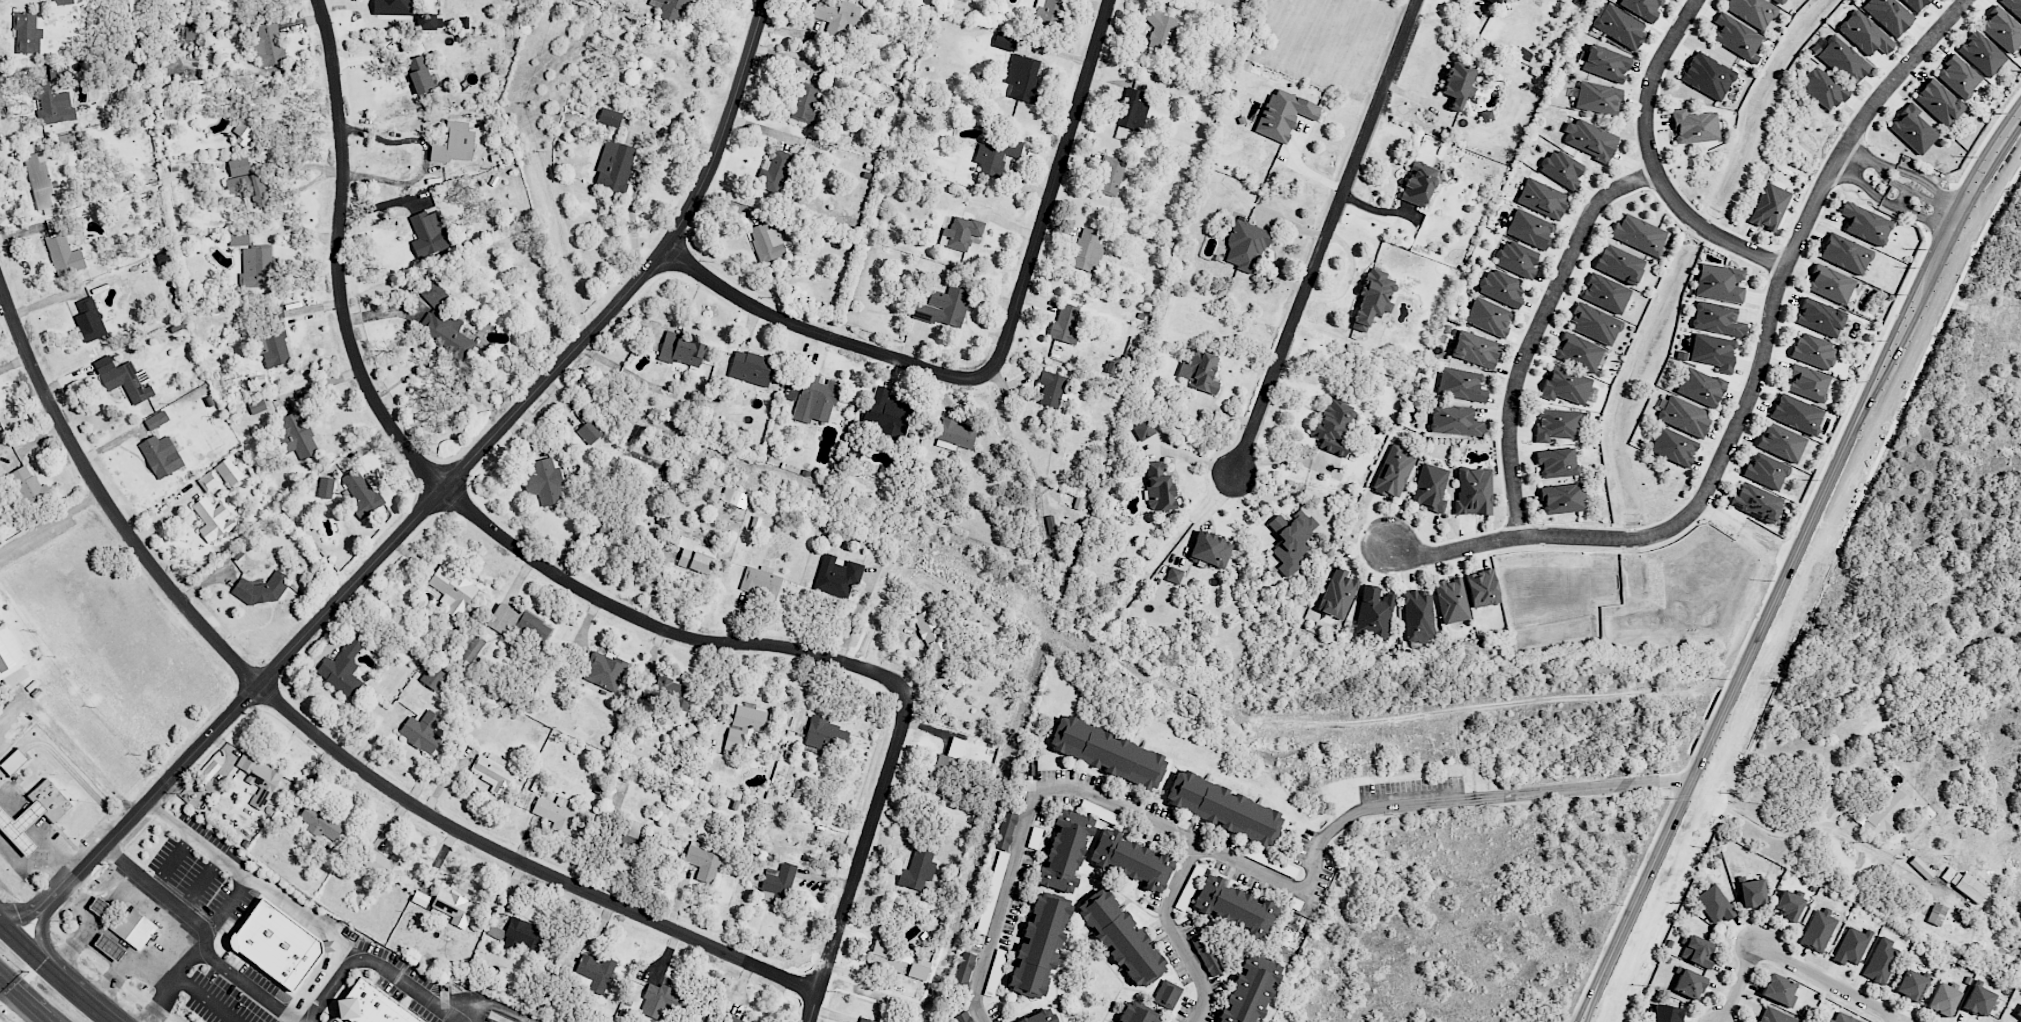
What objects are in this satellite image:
building: (1494, 1)
building: (1777, 1)
building: (63, 2)
building: (1915, 4)
building: (392, 7)
building: (2013, 7)
building: (1642, 8)
building: (669, 9)
building: (1048, 11)
building: (1751, 11)
building: (1888, 15)
building: (837, 17)
building: (429, 22)
building: (1619, 26)
building: (2002, 29)
building: (1162, 31)
building: (26, 33)
building: (189, 33)
building: (1864, 33)
building: (1736, 37)
building: (1004, 41)
building: (268, 44)
building: (1981, 54)
building: (1840, 58)
building: (1605, 63)
building: (57, 70)
building: (419, 75)
building: (1707, 76)
building: (1958, 76)
building: (1022, 78)
building: (1458, 84)
building: (1823, 89)
building: (1597, 98)
building: (1938, 102)
building: (52, 105)
building: (1131, 109)
building: (245, 113)
building: (1283, 114)
building: (609, 117)
building: (1694, 126)
building: (1912, 129)
building: (1589, 138)
building: (66, 143)
building: (454, 143)
road: (1859, 153)
building: (995, 154)
road: (425, 156)
road: (1653, 163)
building: (614, 166)
building: (1561, 169)
building: (775, 170)
building: (1109, 176)
road: (1915, 176)
road: (1887, 177)
building: (40, 182)
building: (246, 183)
building: (1419, 184)
road: (1866, 186)
road: (1051, 190)
building: (1541, 198)
road: (1902, 198)
road: (1926, 198)
building: (1769, 207)
road: (1953, 214)
road: (1928, 218)
building: (1865, 224)
road: (1964, 224)
building: (1529, 229)
building: (429, 233)
building: (960, 233)
building: (1639, 234)
road: (1323, 240)
building: (770, 241)
building: (1246, 246)
building: (1087, 250)
building: (1845, 254)
building: (64, 255)
building: (164, 258)
building: (252, 258)
building: (1516, 259)
building: (1619, 264)
building: (1719, 283)
building: (1830, 284)
building: (1501, 287)
building: (1605, 293)
building: (433, 294)
building: (1373, 298)
building: (944, 307)
building: (275, 310)
building: (1488, 317)
building: (1820, 317)
building: (1717, 319)
building: (89, 320)
building: (1064, 324)
building: (1594, 324)
building: (444, 331)
road: (1534, 331)
road: (814, 333)
building: (271, 345)
building: (1474, 349)
building: (680, 350)
building: (1713, 351)
building: (1813, 351)
building: (1578, 352)
building: (751, 368)
building: (1200, 370)
building: (129, 382)
building: (1807, 383)
building: (1461, 384)
building: (1700, 387)
building: (1050, 388)
road: (1752, 390)
building: (789, 396)
building: (815, 399)
building: (256, 406)
building: (888, 414)
building: (1796, 414)
building: (1682, 415)
building: (156, 420)
building: (1454, 420)
building: (1556, 425)
building: (1333, 426)
building: (1143, 430)
building: (589, 431)
building: (296, 435)
building: (955, 435)
road: (1867, 439)
building: (1781, 442)
building: (1673, 447)
building: (161, 455)
building: (1557, 462)
building: (1766, 471)
building: (228, 472)
building: (1393, 472)
building: (546, 475)
road: (438, 478)
road: (454, 478)
building: (208, 481)
building: (27, 486)
building: (326, 487)
building: (1158, 488)
building: (1430, 488)
building: (1473, 491)
building: (361, 493)
building: (734, 498)
building: (1562, 498)
building: (1756, 502)
building: (213, 519)
road: (50, 522)
building: (606, 528)
road: (1752, 537)
building: (1291, 540)
building: (1211, 549)
building: (696, 556)
building: (837, 574)
building: (1173, 575)
building: (760, 582)
building: (1482, 588)
building: (259, 590)
building: (452, 590)
building: (1337, 594)
building: (1451, 600)
building: (1374, 612)
building: (1418, 617)
building: (521, 626)
building: (932, 634)
building: (470, 647)
building: (9, 654)
building: (343, 670)
building: (604, 671)
building: (433, 678)
building: (672, 693)
building: (744, 725)
building: (421, 731)
building: (825, 734)
road: (319, 739)
building: (1107, 751)
building: (13, 761)
building: (945, 765)
building: (207, 772)
building: (492, 772)
building: (259, 779)
road: (1592, 789)
building: (952, 799)
building: (49, 800)
building: (1222, 807)
building: (554, 813)
building: (1885, 814)
park: (1876, 821)
building: (320, 823)
road: (1815, 823)
road: (1161, 825)
building: (21, 827)
gas station: (21, 827)
building: (1006, 828)
building: (630, 833)
building: (1065, 849)
road: (864, 851)
building: (1131, 859)
road: (39, 860)
building: (703, 862)
building: (382, 863)
road: (229, 866)
building: (917, 870)
building: (1196, 873)
road: (1663, 882)
building: (777, 884)
building: (1964, 884)
road: (103, 885)
building: (1751, 893)
building: (420, 898)
building: (1715, 904)
building: (1788, 905)
building: (98, 906)
gas station: (98, 906)
building: (1233, 906)
building: (453, 907)
road: (87, 909)
road: (28, 910)
building: (1936, 914)
traffic signals: (0, 918)
building: (134, 927)
road: (39, 930)
road: (181, 930)
building: (1819, 930)
road: (1174, 933)
building: (1119, 935)
building: (522, 936)
road: (90, 943)
building: (277, 943)
building: (1038, 945)
building: (1851, 946)
building: (109, 947)
gas station: (109, 947)
building: (1697, 951)
building: (1206, 955)
building: (897, 960)
building: (1880, 961)
road: (137, 963)
road: (1793, 966)
road: (56, 970)
building: (964, 970)
building: (596, 972)
road: (408, 980)
road: (314, 982)
building: (1688, 983)
building: (1910, 985)
building: (1778, 990)
building: (1249, 991)
building: (1166, 994)
road: (206, 998)
road: (25, 999)
building: (1943, 999)
building: (658, 1000)
building: (1978, 1000)
building: (372, 1006)
road: (500, 1007)
building: (1666, 1013)
building: (1135, 1014)
building: (2018, 1015)
building: (964, 1016)
building: (1036, 1016)
building: (1776, 1016)
building: (1843, 1018)
building: (733, 1019)
road: (291, 1020)
road: (474, 1020)
building: (865, 1020)
road: (1899, 1021)

